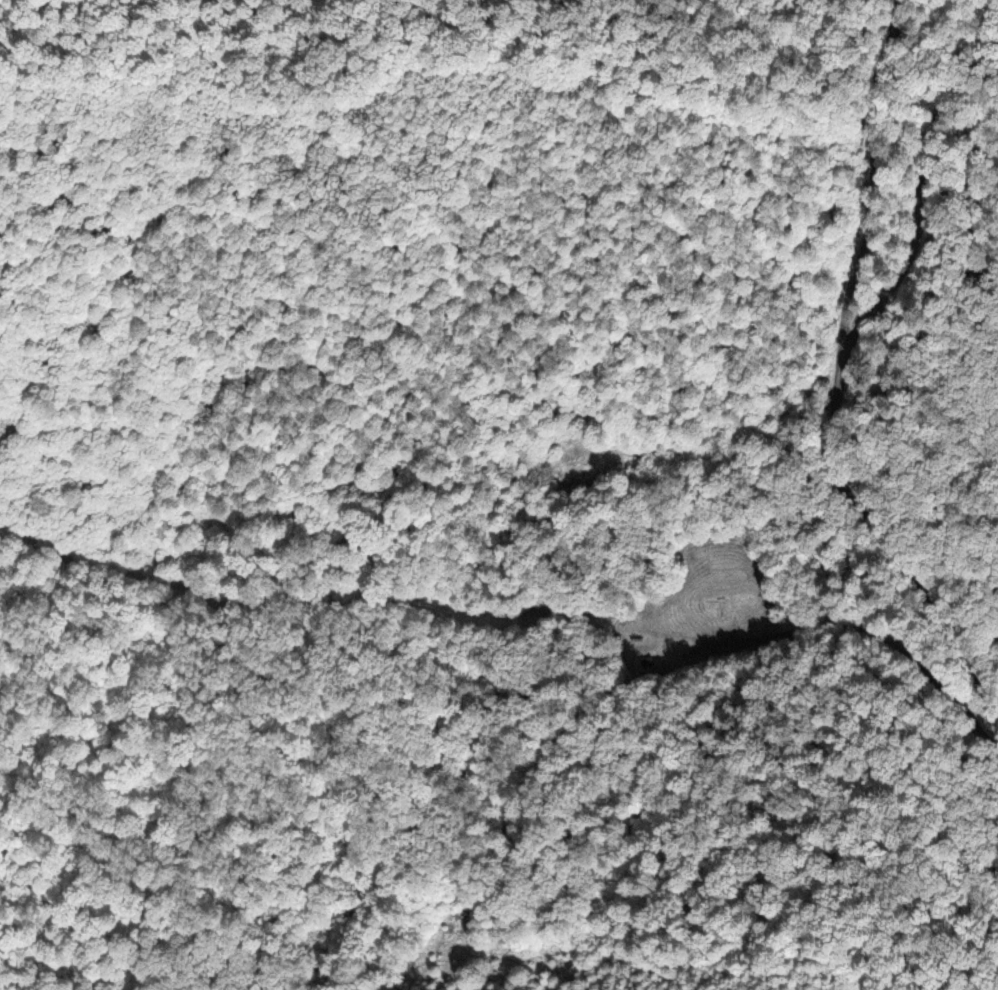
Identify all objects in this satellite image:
road: (929, 170)
road: (845, 380)
road: (848, 634)

